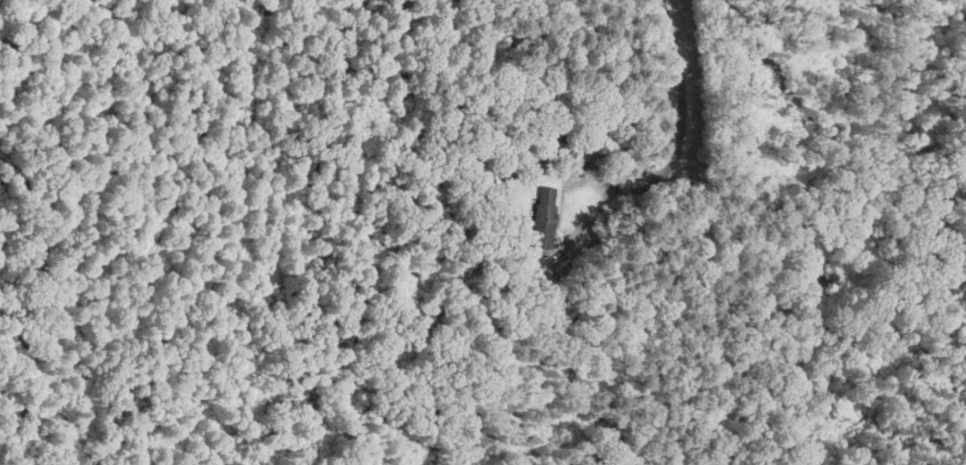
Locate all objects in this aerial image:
road: (677, 80)
road: (610, 184)
building: (548, 208)
road: (589, 223)

